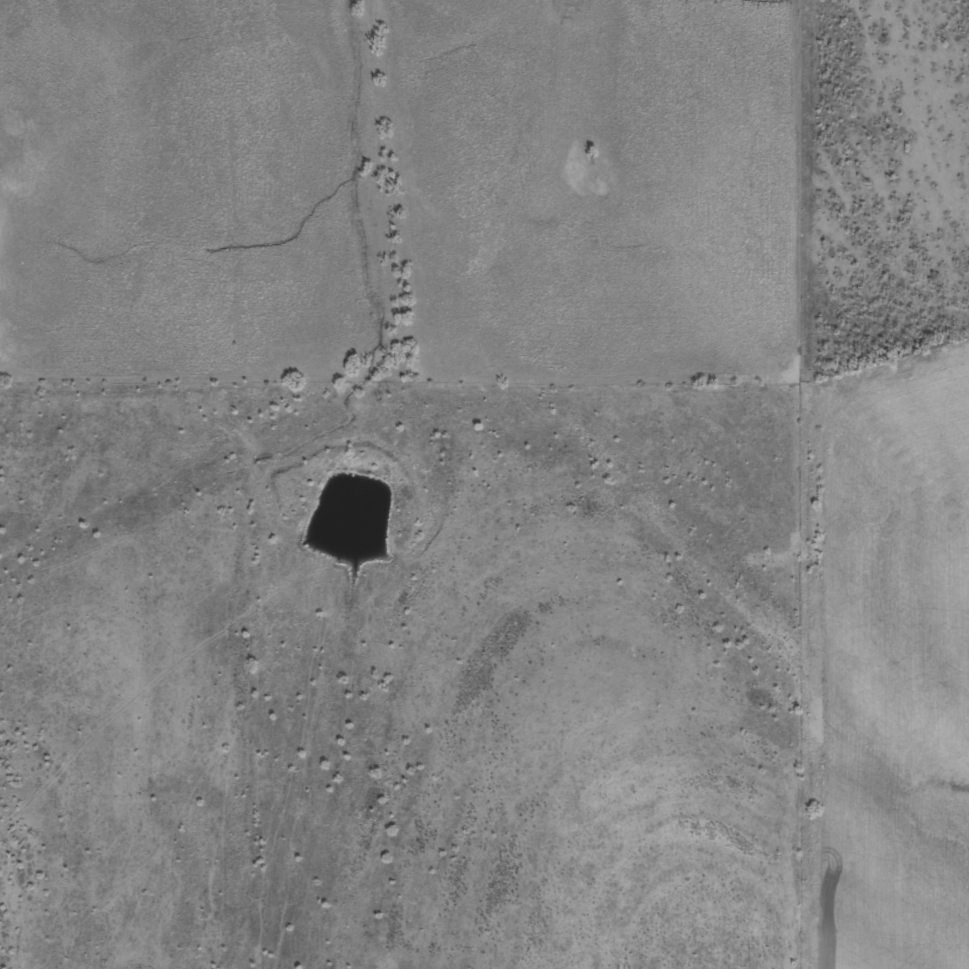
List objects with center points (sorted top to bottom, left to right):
road: (758, 150)

